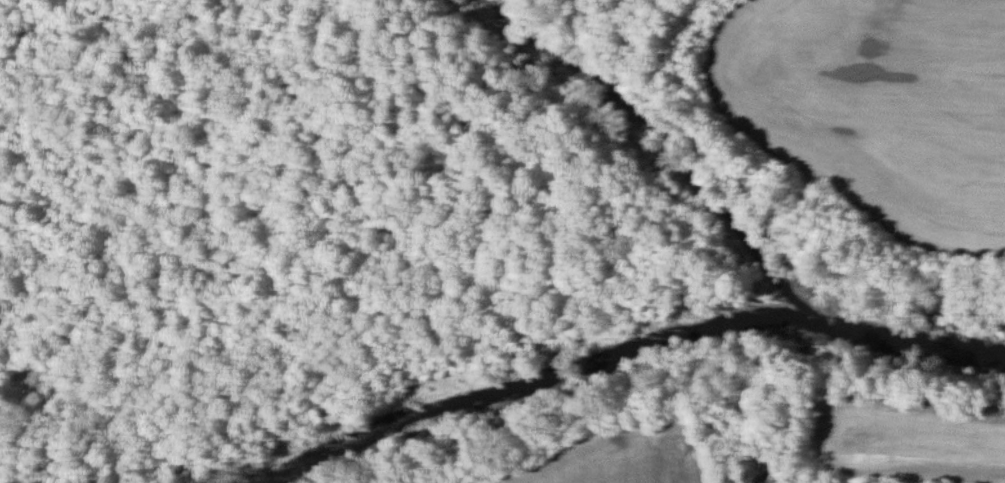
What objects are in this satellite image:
crop: (876, 108)
river: (630, 341)
crop: (614, 452)
crop: (979, 467)

